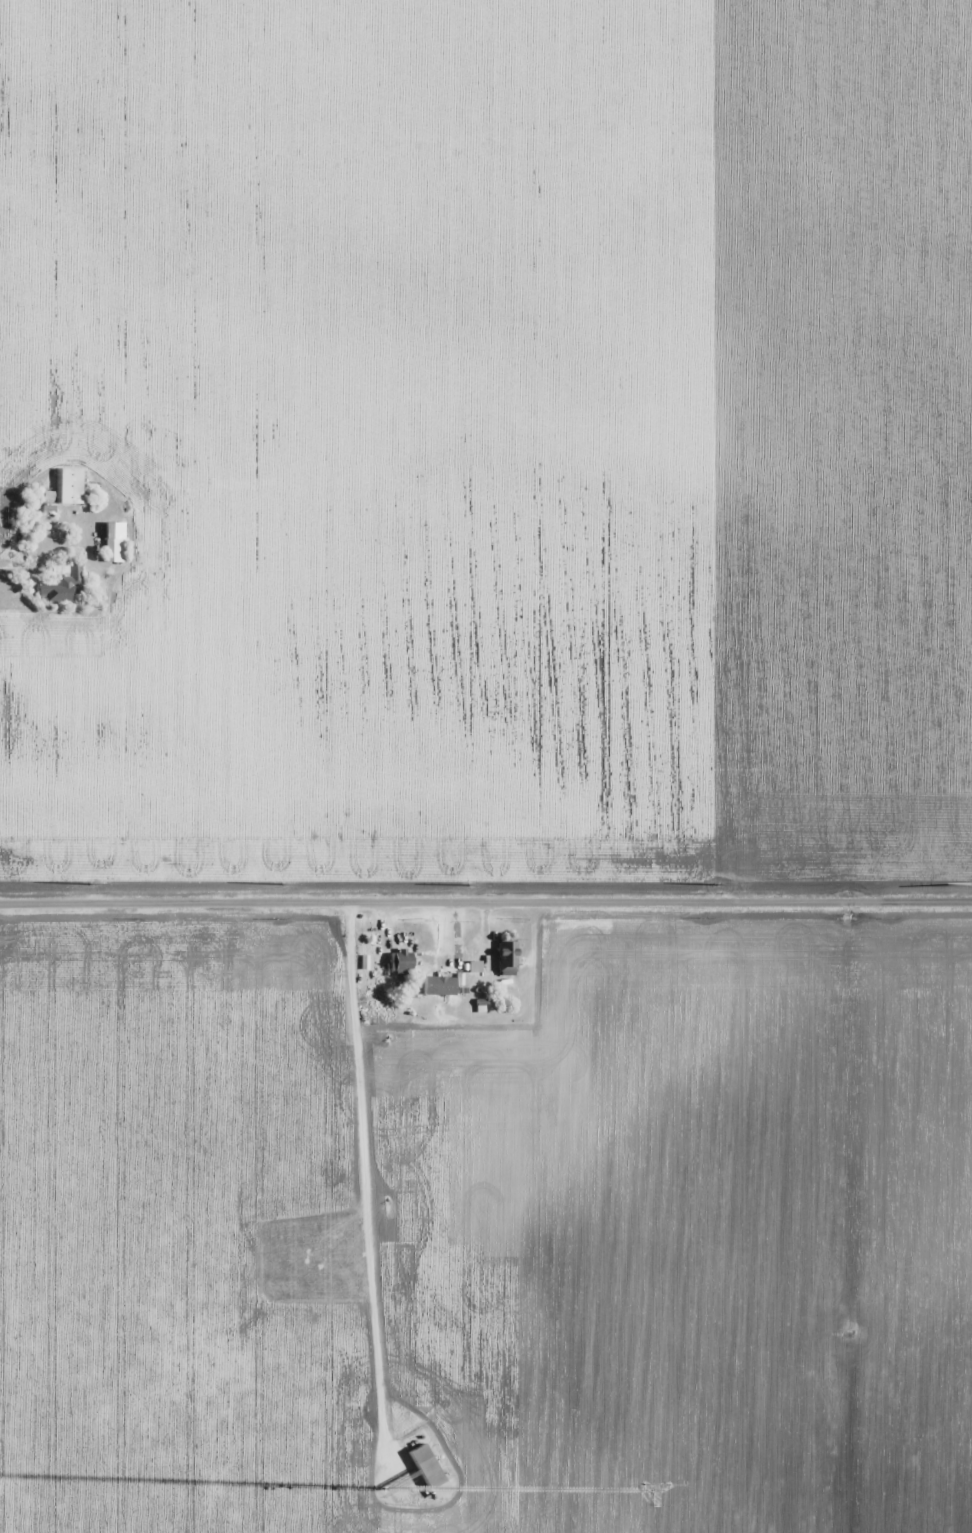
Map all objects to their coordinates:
crop: (493, 442)
building: (70, 485)
building: (113, 541)
building: (59, 582)
power tower: (93, 883)
power tower: (285, 883)
power tower: (970, 884)
power tower: (722, 885)
power tower: (470, 886)
road: (486, 905)
building: (503, 956)
building: (397, 963)
building: (465, 966)
road: (369, 1235)
building: (422, 1471)

